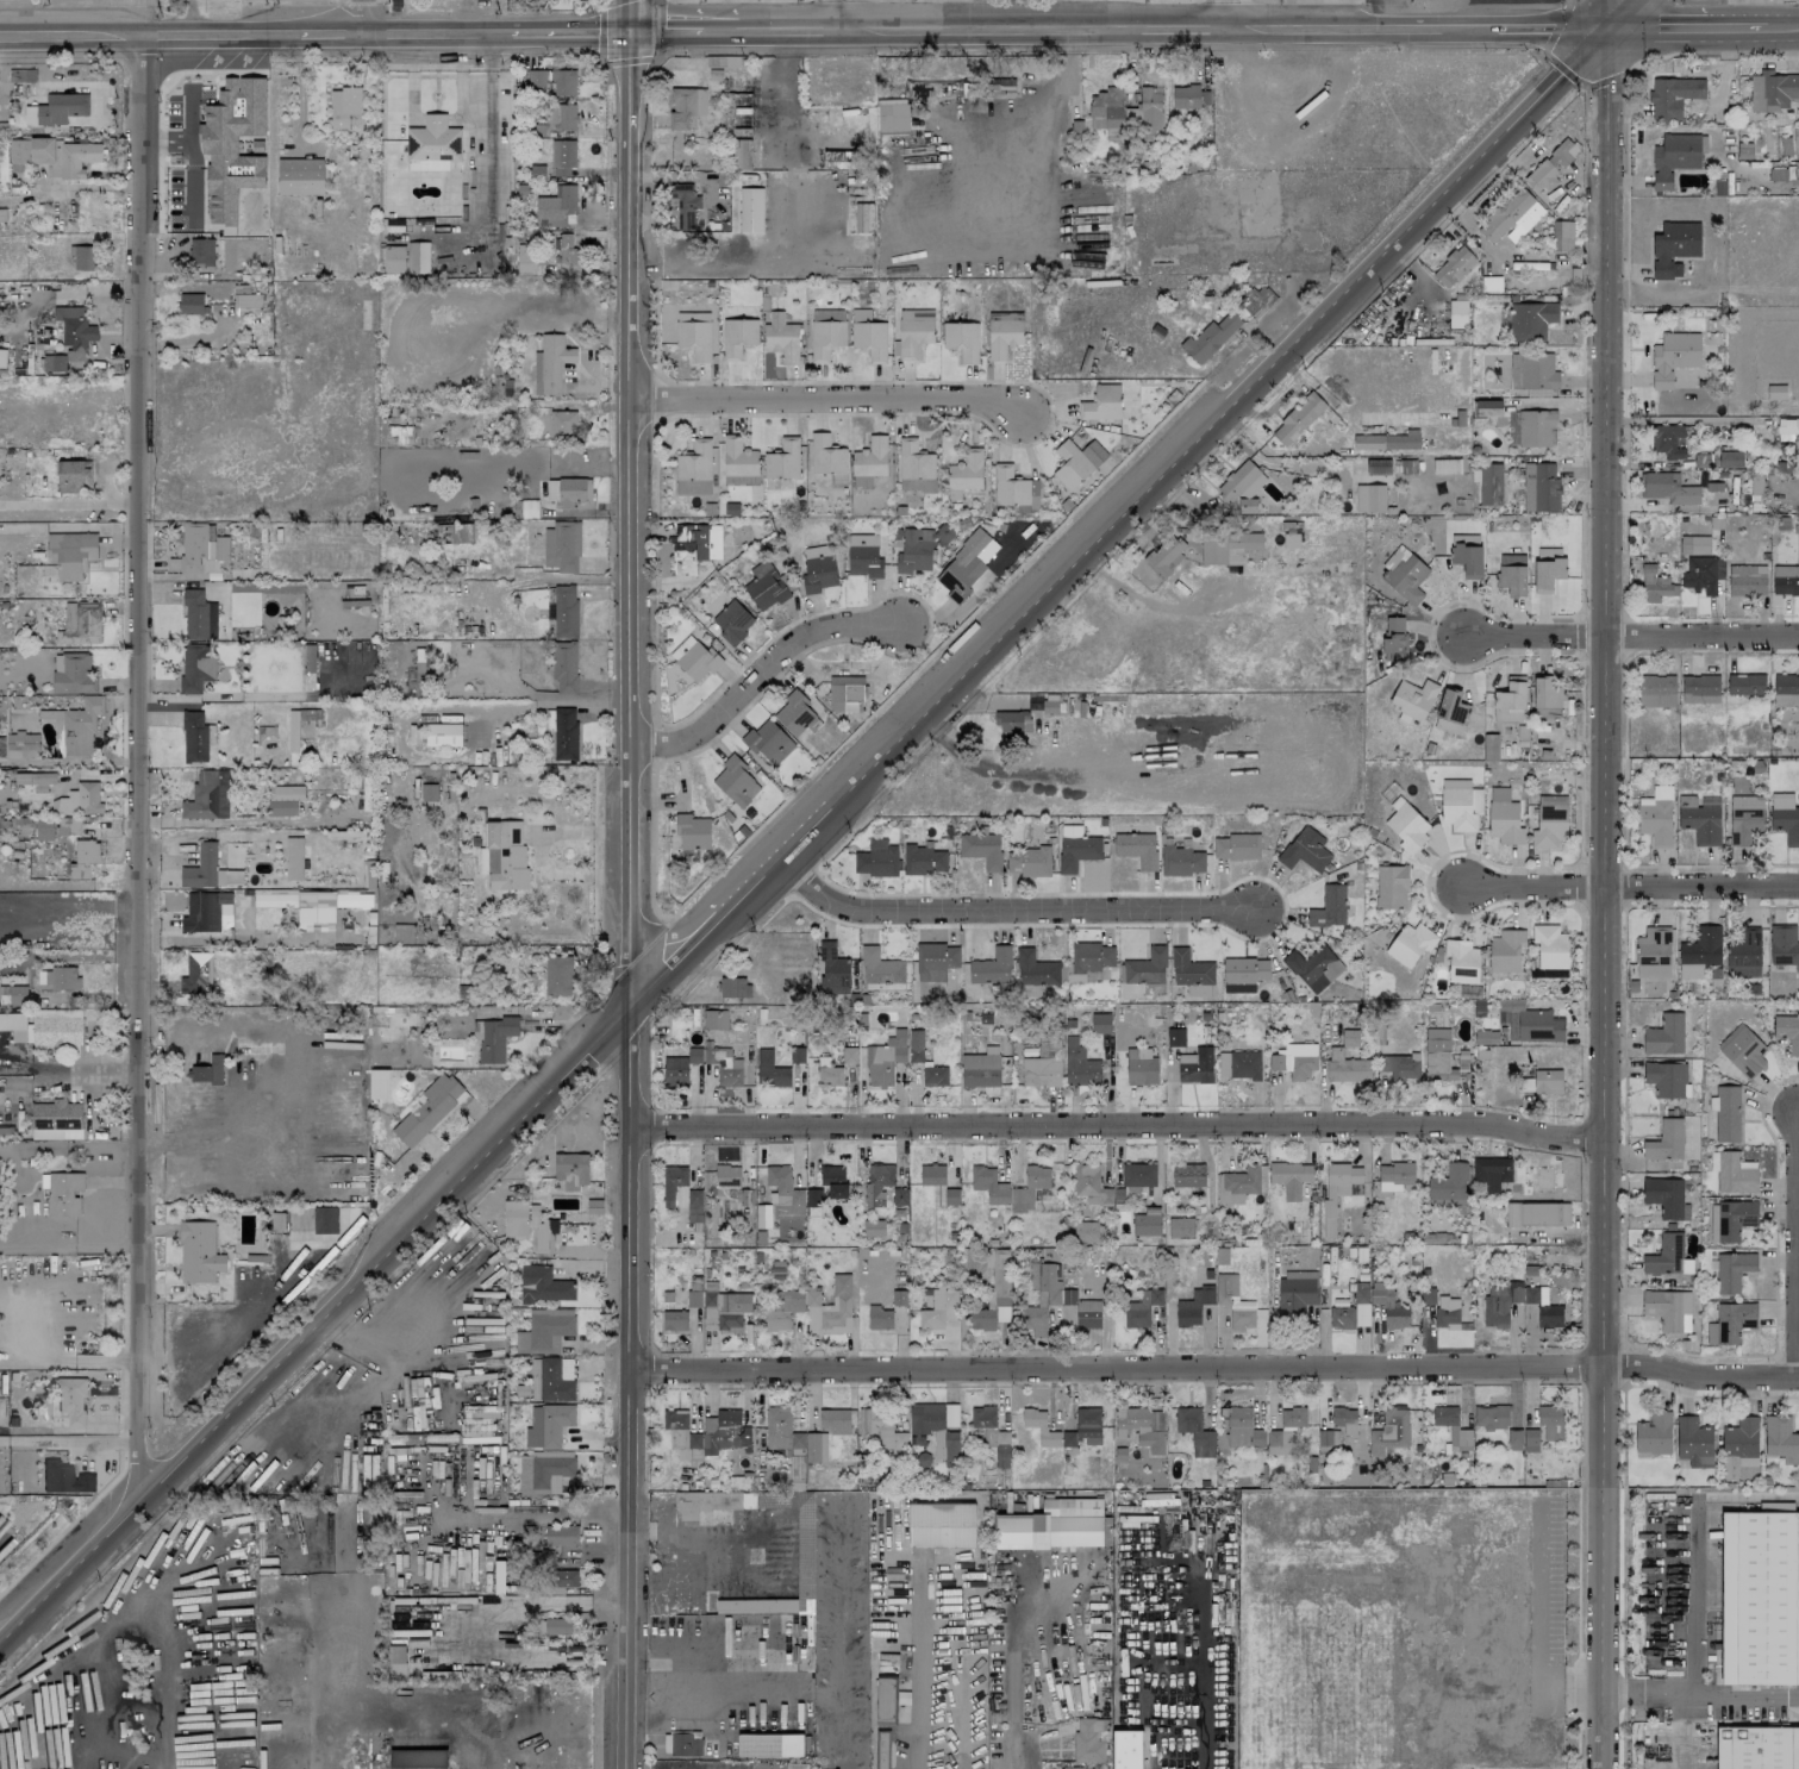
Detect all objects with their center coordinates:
road: (1623, 13)
road: (1228, 14)
road: (148, 15)
road: (955, 15)
road: (1080, 15)
road: (361, 17)
road: (844, 17)
road: (1782, 26)
road: (1553, 27)
road: (1657, 27)
road: (1736, 27)
road: (1117, 30)
road: (149, 32)
road: (330, 33)
road: (436, 33)
road: (719, 33)
road: (569, 35)
road: (664, 35)
road: (1064, 74)
building: (536, 77)
building: (563, 82)
road: (299, 90)
building: (1772, 90)
building: (1188, 96)
building: (1673, 96)
building: (343, 105)
building: (686, 106)
building: (56, 108)
building: (886, 108)
building: (1106, 108)
building: (1150, 108)
building: (738, 114)
building: (563, 117)
building: (232, 144)
building: (432, 144)
building: (1743, 150)
building: (18, 151)
building: (741, 154)
building: (63, 156)
building: (562, 157)
building: (1675, 157)
building: (1551, 174)
building: (299, 176)
building: (685, 206)
building: (557, 207)
building: (750, 210)
building: (2, 213)
building: (1511, 217)
road: (794, 225)
building: (1561, 236)
building: (1674, 248)
building: (567, 249)
building: (200, 251)
building: (418, 257)
building: (83, 258)
building: (394, 258)
building: (525, 261)
building: (1453, 267)
building: (245, 300)
building: (1255, 300)
building: (190, 304)
building: (1457, 313)
building: (1531, 320)
building: (74, 331)
building: (914, 331)
building: (826, 332)
building: (1002, 333)
building: (868, 336)
building: (738, 337)
building: (781, 337)
building: (1210, 337)
building: (694, 338)
building: (961, 339)
building: (1673, 356)
building: (2, 357)
building: (554, 361)
building: (54, 362)
building: (1532, 371)
building: (536, 373)
building: (1775, 390)
road: (825, 398)
building: (1101, 402)
building: (1487, 407)
building: (1298, 419)
building: (562, 425)
building: (1536, 427)
building: (1786, 427)
building: (1387, 440)
building: (1667, 440)
building: (1730, 458)
building: (782, 460)
building: (827, 460)
building: (1705, 460)
building: (869, 461)
building: (738, 462)
building: (1076, 462)
building: (1445, 465)
building: (914, 467)
road: (1158, 467)
building: (1376, 467)
building: (694, 469)
building: (966, 471)
building: (74, 475)
building: (1241, 481)
building: (1489, 483)
building: (1539, 487)
building: (1667, 488)
building: (1014, 489)
building: (568, 492)
building: (1369, 498)
road: (70, 504)
building: (461, 532)
building: (713, 542)
building: (1694, 544)
building: (1226, 545)
building: (562, 546)
building: (689, 546)
building: (201, 548)
building: (914, 550)
building: (70, 554)
building: (1166, 554)
building: (1233, 555)
building: (864, 558)
building: (1467, 558)
building: (963, 567)
building: (818, 573)
building: (1547, 573)
building: (1404, 574)
building: (1512, 574)
building: (1701, 574)
building: (1747, 580)
building: (1785, 580)
building: (1655, 585)
building: (764, 586)
building: (564, 611)
building: (198, 615)
building: (83, 619)
building: (732, 621)
building: (1394, 624)
road: (1631, 632)
building: (1393, 646)
building: (694, 657)
building: (195, 667)
building: (308, 667)
building: (564, 668)
building: (419, 669)
road: (758, 673)
building: (74, 675)
building: (1745, 685)
building: (1699, 688)
building: (1785, 689)
building: (1655, 690)
building: (414, 692)
building: (845, 693)
building: (1547, 693)
building: (1413, 698)
road: (579, 701)
building: (1510, 701)
road: (492, 707)
building: (1451, 712)
building: (794, 713)
building: (1012, 721)
building: (80, 726)
building: (292, 730)
building: (564, 733)
building: (443, 735)
building: (195, 736)
building: (769, 742)
building: (1, 745)
building: (1491, 746)
building: (27, 750)
road: (139, 769)
building: (350, 779)
building: (38, 780)
building: (736, 781)
building: (1455, 783)
building: (429, 792)
building: (208, 795)
building: (81, 799)
building: (283, 799)
building: (1461, 808)
building: (1656, 815)
building: (1504, 817)
building: (1785, 817)
building: (1744, 818)
road: (241, 820)
building: (1699, 820)
building: (1549, 821)
building: (67, 825)
building: (44, 826)
building: (1407, 827)
road: (119, 830)
building: (692, 831)
building: (1236, 846)
building: (1076, 848)
building: (1136, 848)
building: (981, 849)
building: (1305, 850)
building: (504, 855)
building: (83, 858)
building: (293, 858)
building: (876, 858)
building: (924, 860)
building: (1027, 861)
building: (1181, 861)
building: (208, 869)
road: (627, 884)
road: (1604, 884)
building: (1391, 886)
road: (1631, 887)
building: (275, 898)
building: (352, 899)
building: (1329, 907)
road: (1007, 908)
building: (316, 909)
building: (207, 912)
building: (402, 932)
building: (1410, 944)
building: (1784, 944)
building: (1550, 946)
building: (1699, 951)
building: (1653, 952)
building: (1505, 954)
building: (1744, 955)
road: (671, 957)
building: (935, 961)
building: (1461, 961)
building: (1088, 962)
building: (833, 967)
building: (880, 967)
building: (992, 967)
building: (1144, 967)
building: (1313, 967)
building: (1189, 968)
building: (1035, 969)
building: (1245, 970)
building: (196, 973)
building: (558, 975)
building: (62, 979)
building: (733, 987)
building: (1197, 989)
building: (13, 994)
building: (714, 1019)
building: (12, 1021)
building: (1529, 1021)
building: (1100, 1023)
building: (57, 1030)
building: (1787, 1031)
building: (1664, 1034)
building: (20, 1036)
building: (1175, 1037)
building: (1481, 1037)
building: (493, 1038)
building: (914, 1045)
building: (1742, 1051)
building: (848, 1054)
building: (1438, 1054)
building: (886, 1058)
building: (1294, 1059)
building: (1079, 1064)
building: (1238, 1064)
building: (724, 1065)
building: (1195, 1065)
building: (1141, 1067)
building: (1345, 1067)
building: (1399, 1067)
building: (679, 1068)
building: (1042, 1068)
building: (770, 1069)
building: (980, 1069)
building: (206, 1070)
building: (827, 1073)
building: (935, 1075)
building: (1666, 1079)
building: (1542, 1082)
building: (379, 1083)
building: (431, 1108)
building: (1726, 1113)
building: (56, 1120)
road: (1116, 1123)
building: (1666, 1140)
building: (570, 1169)
building: (1491, 1171)
building: (1732, 1171)
building: (1395, 1173)
building: (1138, 1174)
building: (727, 1175)
building: (1187, 1175)
building: (1289, 1177)
building: (833, 1181)
building: (673, 1182)
building: (877, 1182)
building: (1341, 1183)
building: (937, 1184)
building: (989, 1184)
building: (1091, 1184)
building: (1237, 1184)
building: (1448, 1187)
building: (1029, 1188)
building: (785, 1190)
building: (63, 1193)
building: (813, 1196)
building: (1666, 1196)
building: (694, 1206)
building: (1537, 1214)
building: (516, 1217)
building: (325, 1219)
building: (1734, 1219)
building: (1145, 1224)
building: (1180, 1227)
building: (1086, 1232)
building: (200, 1254)
building: (1664, 1255)
building: (1732, 1270)
building: (543, 1284)
building: (994, 1292)
building: (1295, 1295)
building: (1044, 1296)
building: (693, 1298)
building: (898, 1298)
building: (1233, 1301)
building: (1505, 1301)
building: (1388, 1306)
building: (830, 1307)
building: (1192, 1307)
building: (939, 1308)
building: (1141, 1308)
building: (724, 1309)
building: (782, 1309)
building: (1668, 1309)
building: (1351, 1312)
building: (1447, 1312)
road: (439, 1314)
building: (1088, 1314)
building: (1549, 1315)
building: (879, 1318)
building: (674, 1320)
road: (316, 1321)
building: (1731, 1323)
building: (544, 1331)
road: (1218, 1367)
road: (382, 1375)
building: (551, 1379)
building: (71, 1400)
building: (982, 1417)
building: (1491, 1417)
building: (1344, 1419)
building: (833, 1421)
building: (1550, 1421)
building: (1139, 1424)
building: (546, 1425)
building: (1451, 1426)
building: (1039, 1427)
building: (1083, 1429)
building: (781, 1430)
building: (881, 1430)
building: (935, 1430)
building: (1389, 1430)
building: (1195, 1431)
building: (682, 1433)
building: (724, 1433)
building: (1653, 1434)
building: (1258, 1437)
building: (1523, 1439)
building: (1780, 1439)
road: (68, 1440)
building: (1328, 1440)
building: (1693, 1440)
building: (816, 1446)
building: (1739, 1446)
building: (1000, 1448)
building: (369, 1469)
building: (543, 1473)
building: (64, 1477)
building: (745, 1480)
road: (533, 1513)
building: (941, 1525)
building: (1049, 1527)
building: (557, 1536)
road: (1692, 1544)
road: (675, 1548)
building: (804, 1559)
building: (563, 1581)
building: (1760, 1598)
road: (538, 1602)
building: (555, 1625)
road: (2, 1632)
road: (1025, 1640)
road: (526, 1651)
building: (396, 1661)
road: (669, 1664)
road: (917, 1664)
road: (1667, 1694)
road: (1763, 1696)
building: (885, 1699)
road: (1680, 1732)
building: (1088, 1739)
building: (682, 1743)
building: (787, 1744)
road: (1011, 1745)
building: (1757, 1748)
building: (418, 1758)
building: (797, 1765)
building: (1070, 1768)

